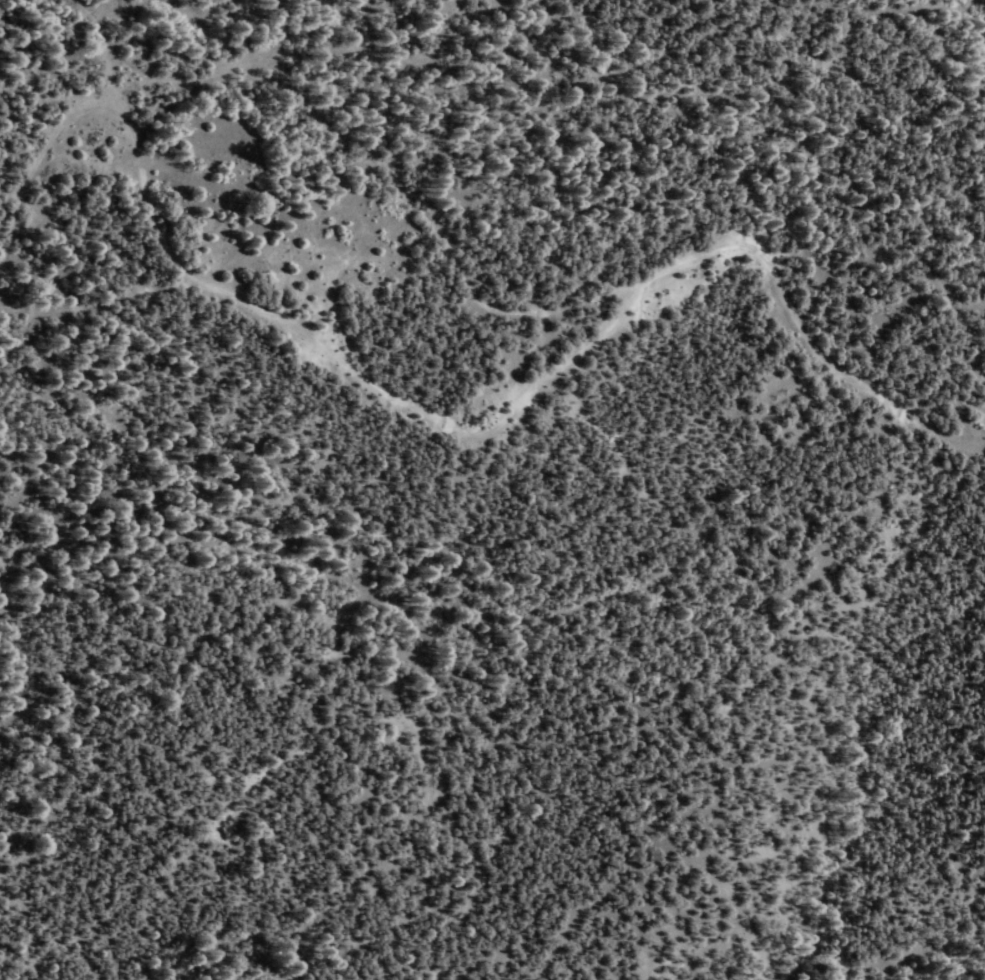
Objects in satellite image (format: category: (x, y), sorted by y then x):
road: (481, 420)

